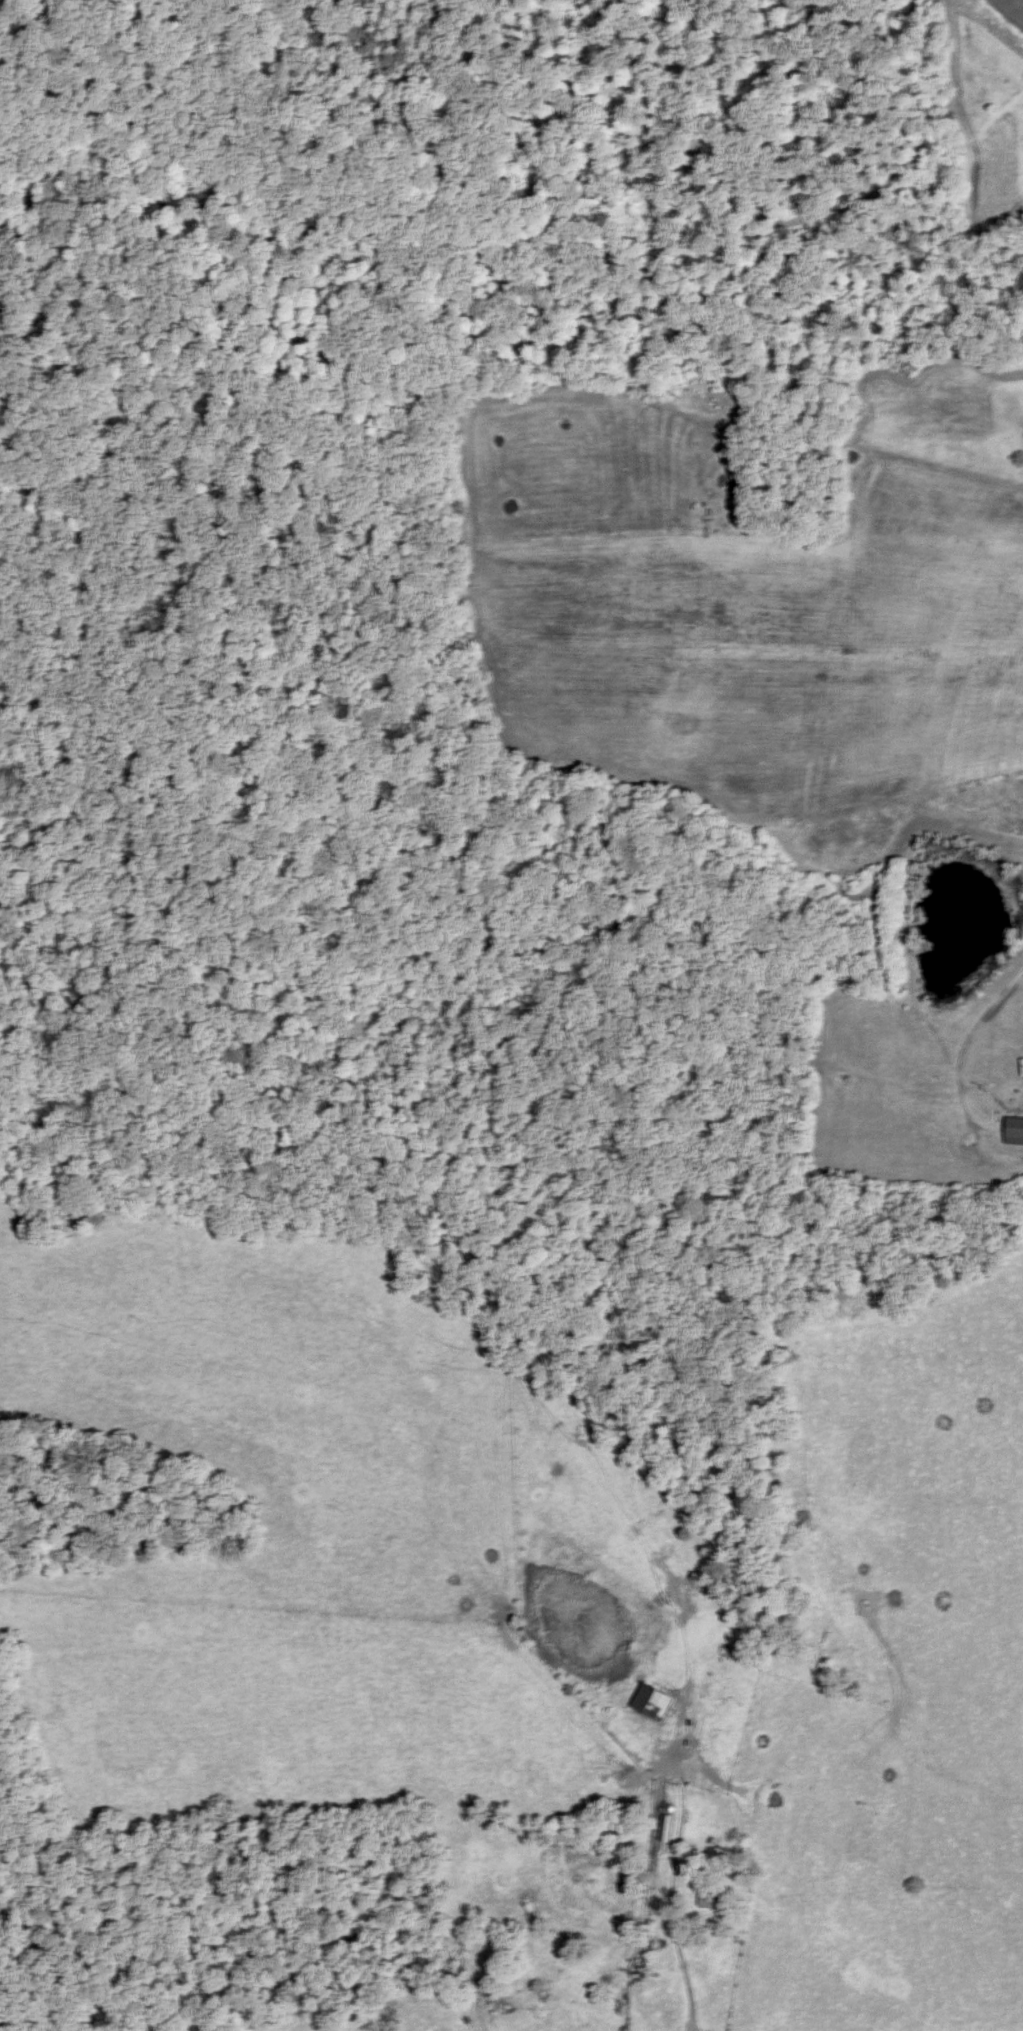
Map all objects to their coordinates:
road: (965, 1050)
building: (1016, 1132)
building: (659, 1703)
building: (670, 1829)
building: (718, 1855)
building: (715, 1901)
road: (671, 1907)

